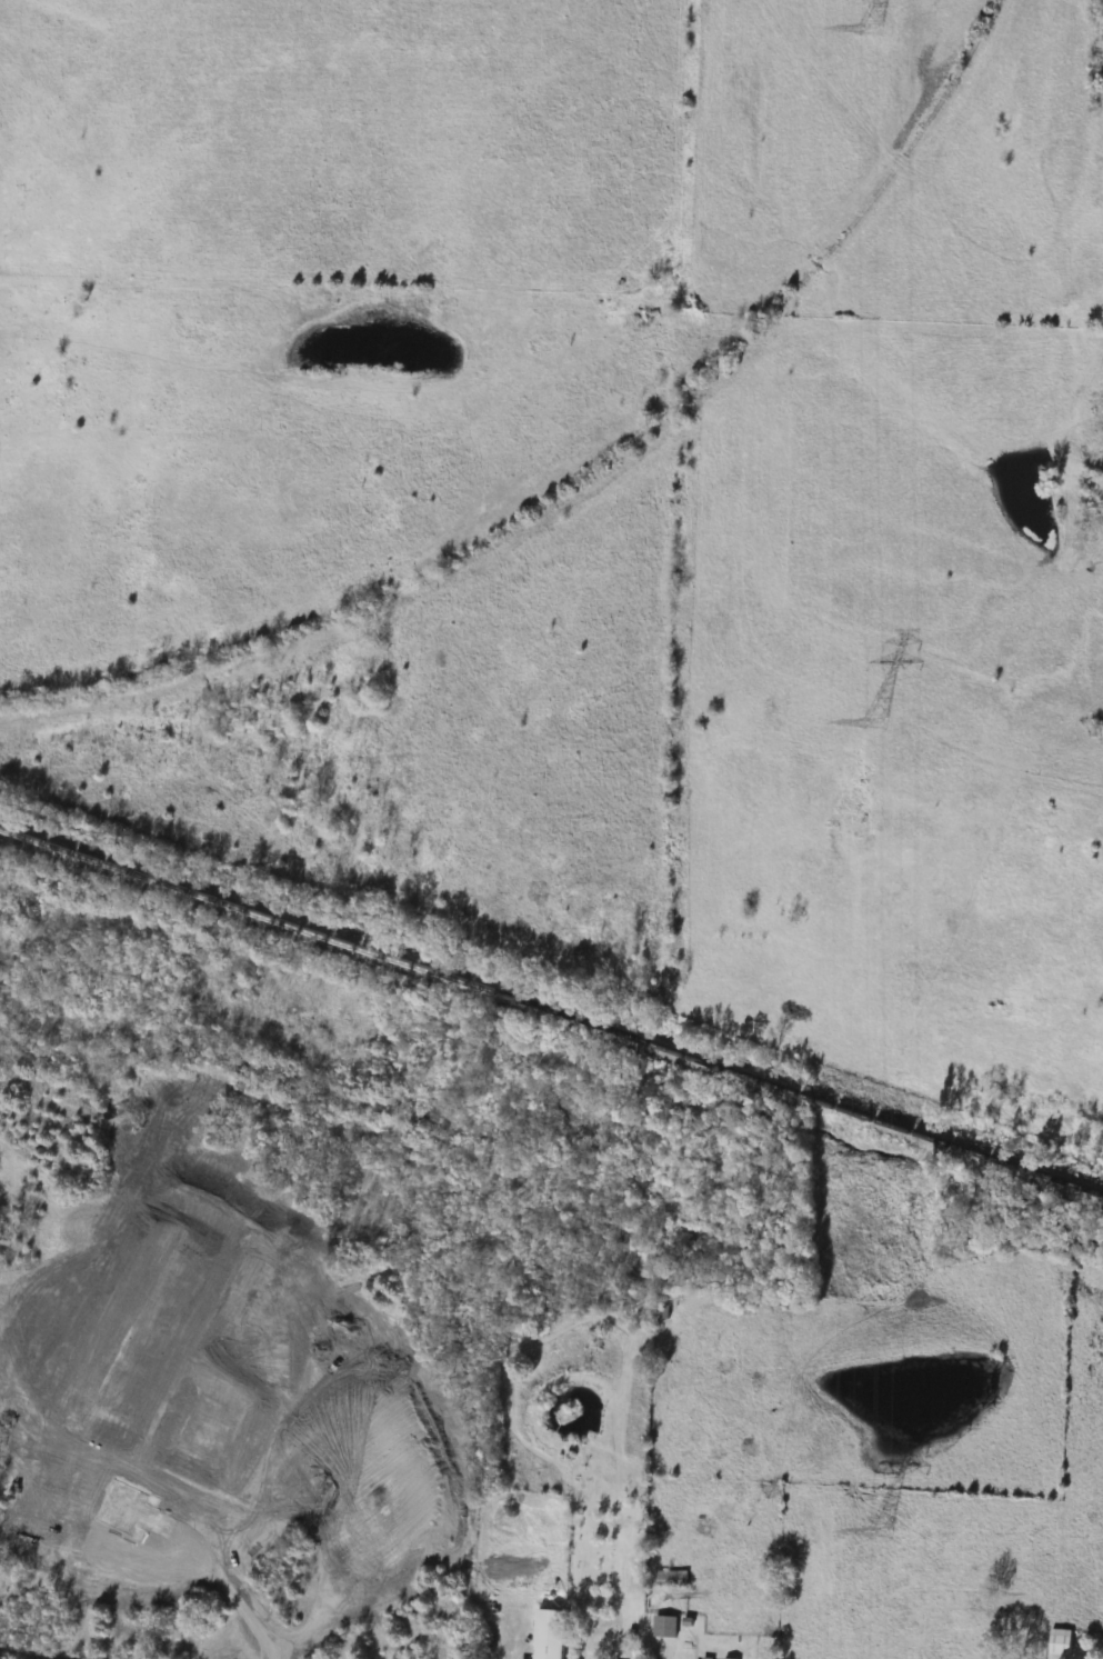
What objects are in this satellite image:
power tower: (870, 28)
railway: (578, 467)
power tower: (875, 723)
railway: (551, 1010)
power tower: (880, 1535)
building: (669, 1579)
building: (662, 1627)
building: (545, 1645)
building: (724, 1658)

